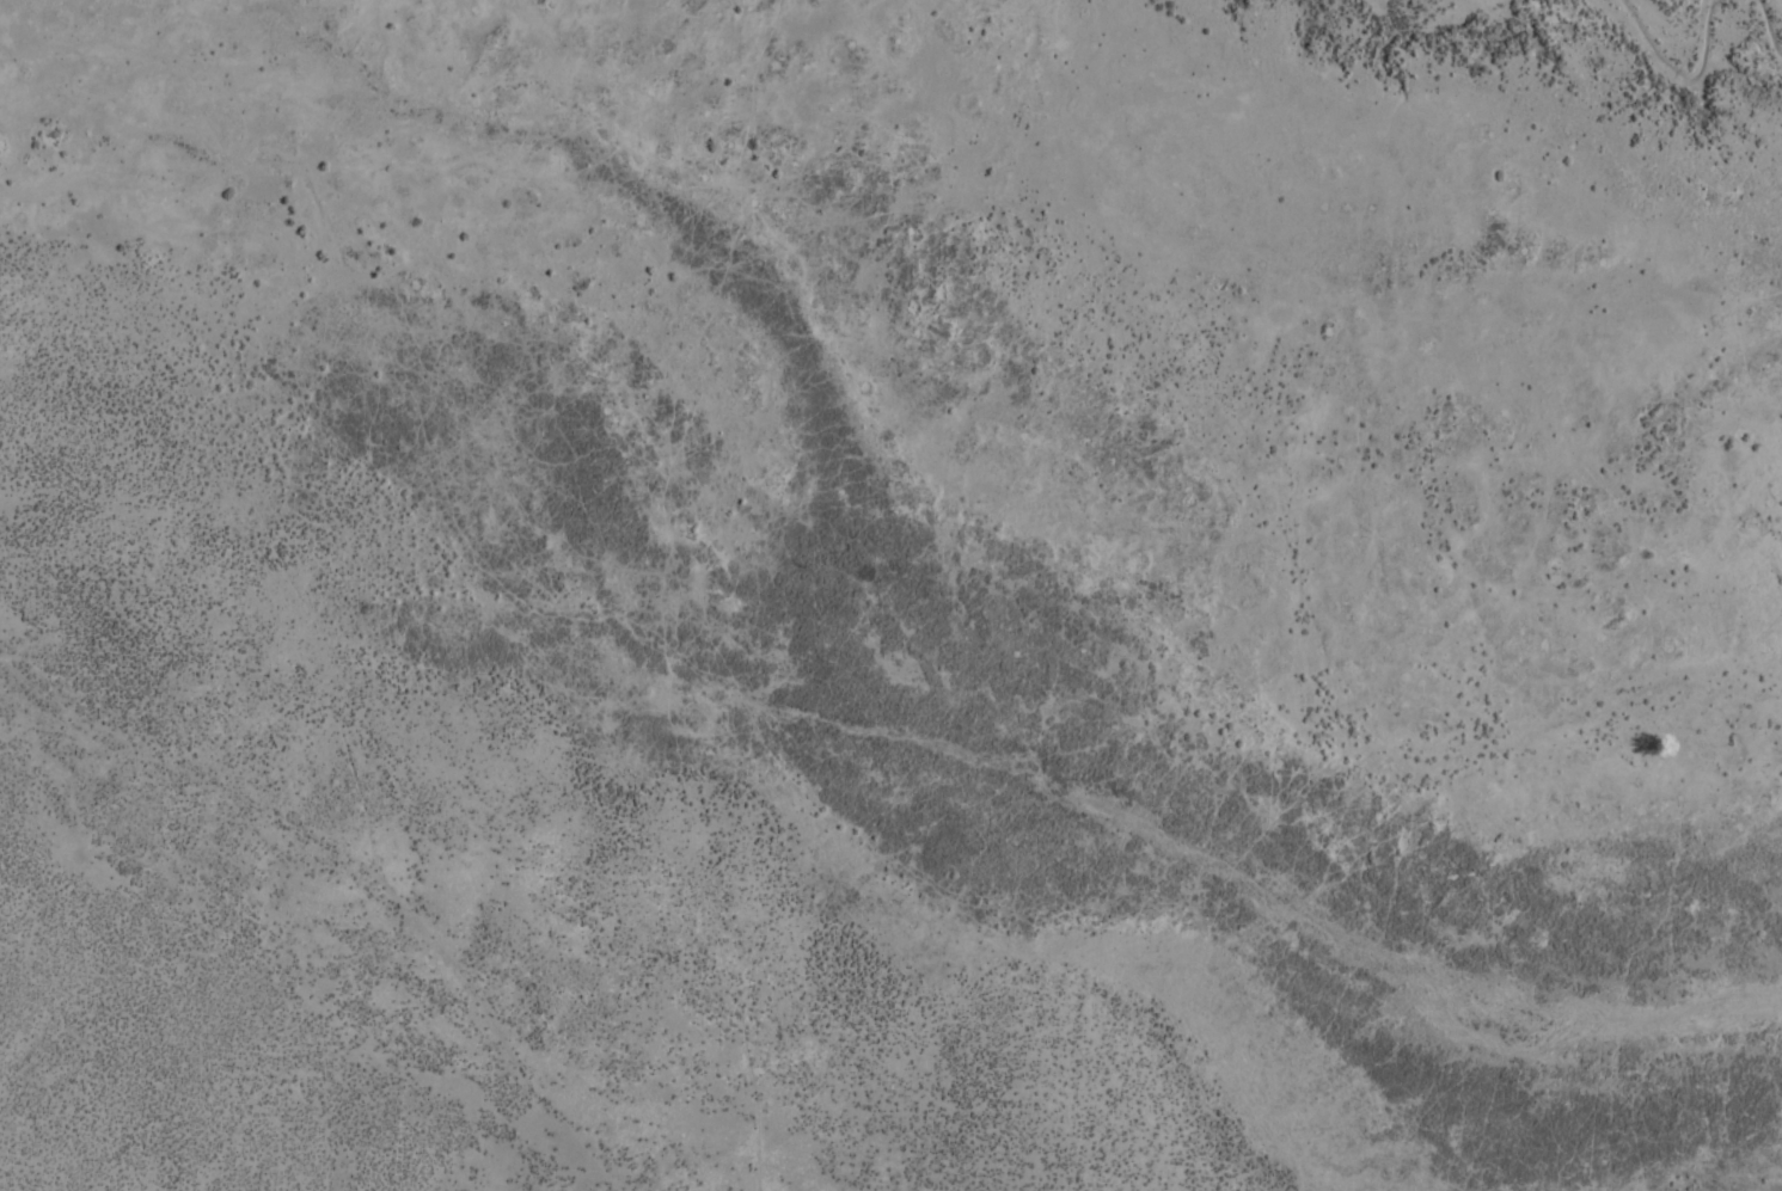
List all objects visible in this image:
river: (1421, 22)
river: (1660, 41)

